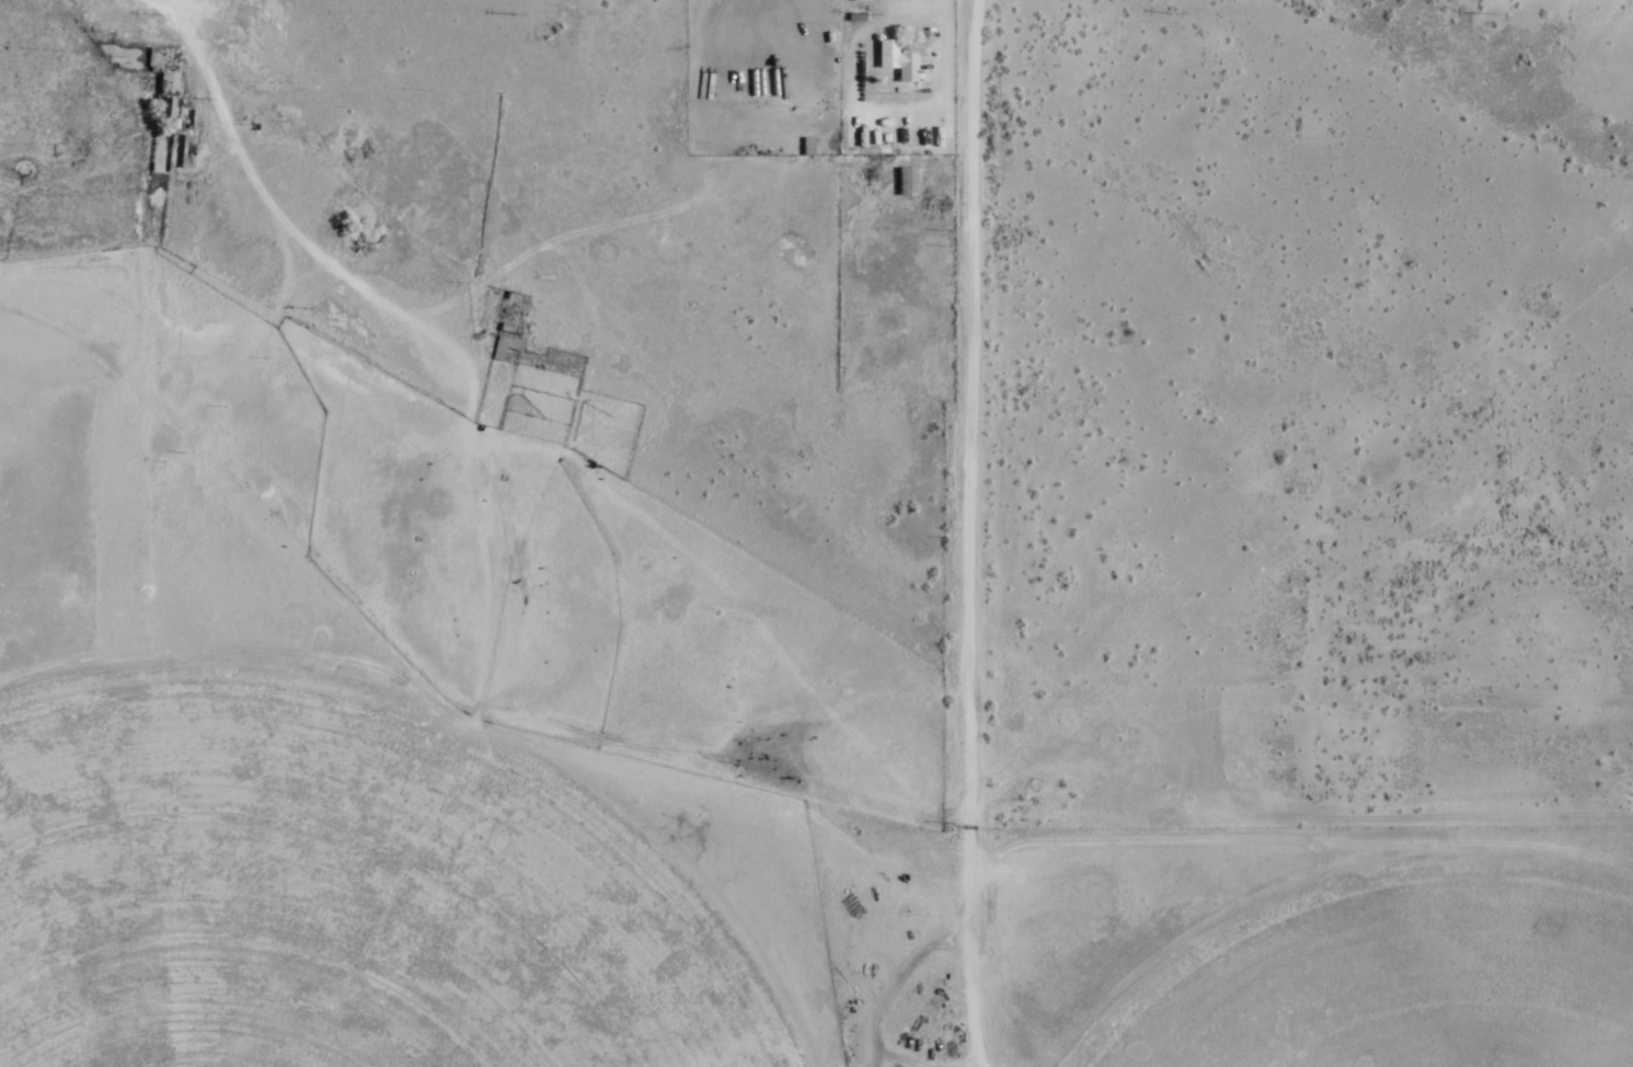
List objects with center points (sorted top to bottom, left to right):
road: (978, 0)
building: (900, 60)
building: (910, 181)
road: (974, 533)

